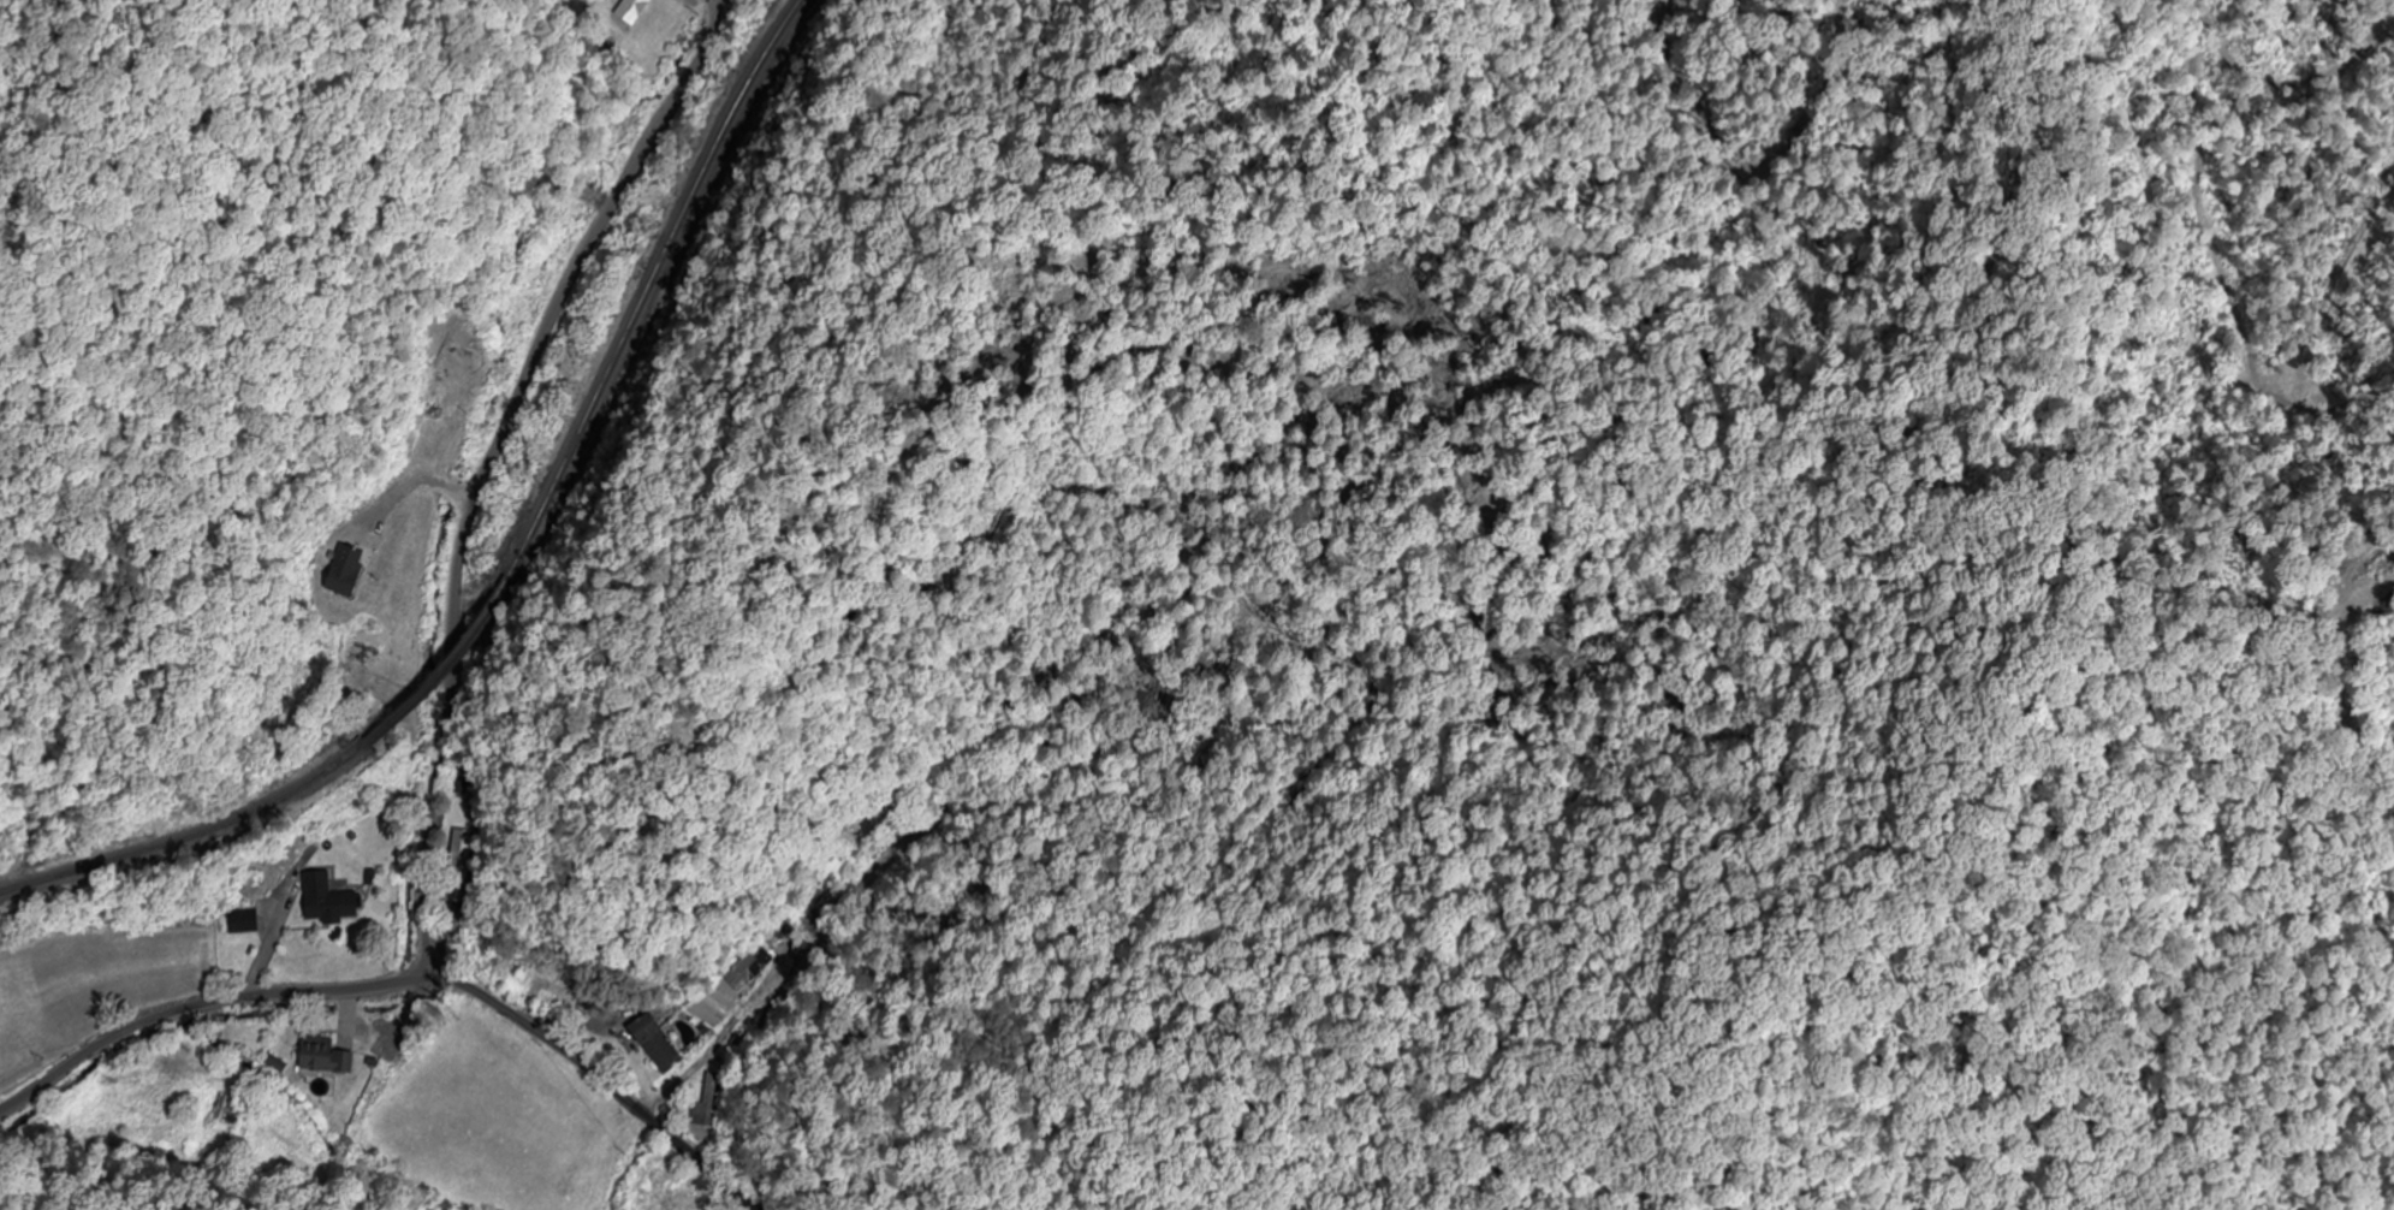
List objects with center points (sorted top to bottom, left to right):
building: (634, 11)
railway: (651, 285)
road: (488, 459)
building: (366, 550)
building: (366, 658)
railway: (455, 669)
railway: (195, 838)
building: (458, 867)
building: (331, 901)
building: (246, 924)
building: (512, 967)
building: (753, 969)
road: (402, 978)
building: (661, 1045)
building: (326, 1057)
building: (706, 1107)
building: (227, 1116)

